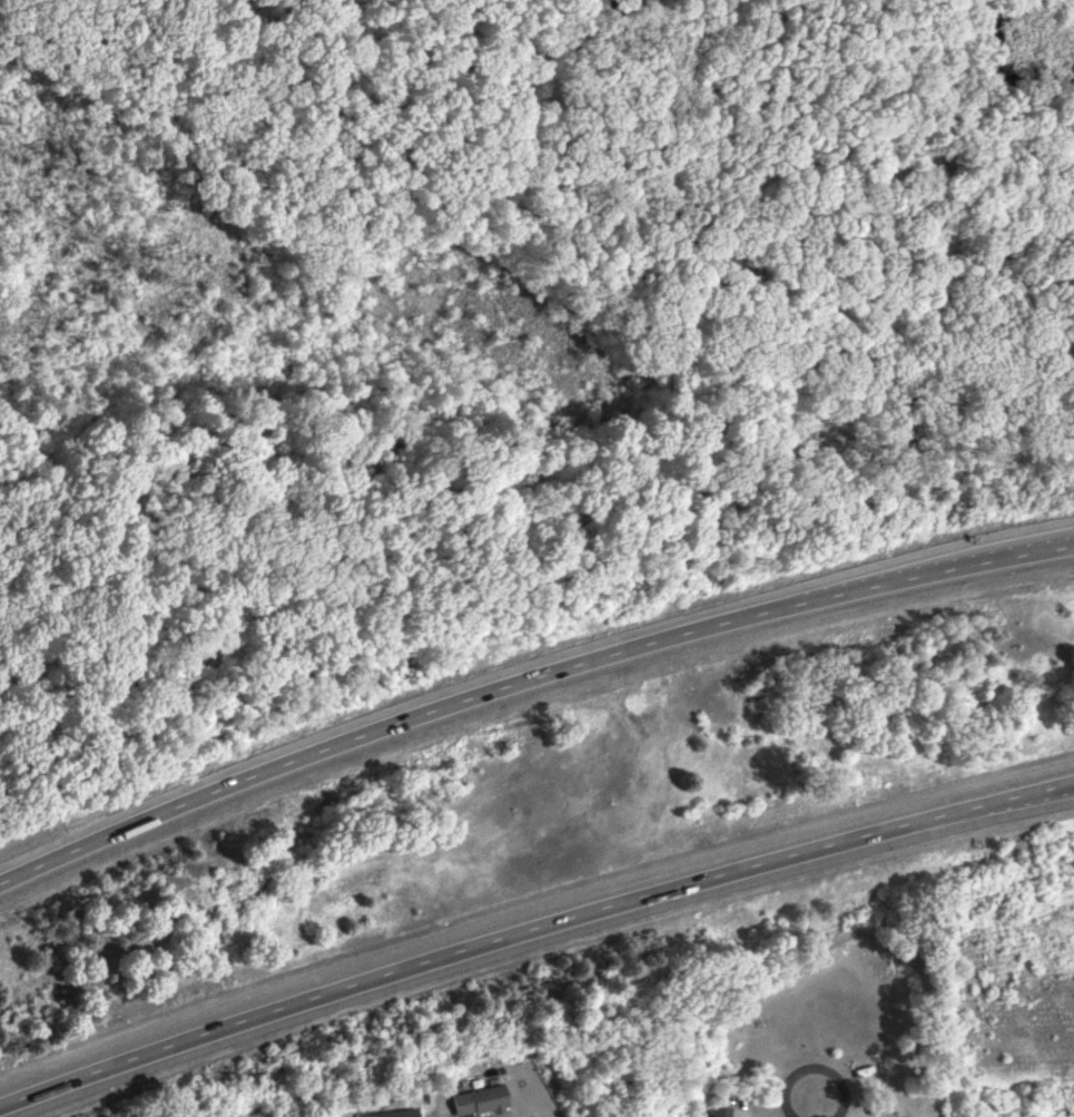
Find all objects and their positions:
park: (536, 227)
road: (525, 675)
road: (532, 929)
road: (819, 1067)
building: (482, 1101)
building: (720, 1113)
building: (390, 1115)

